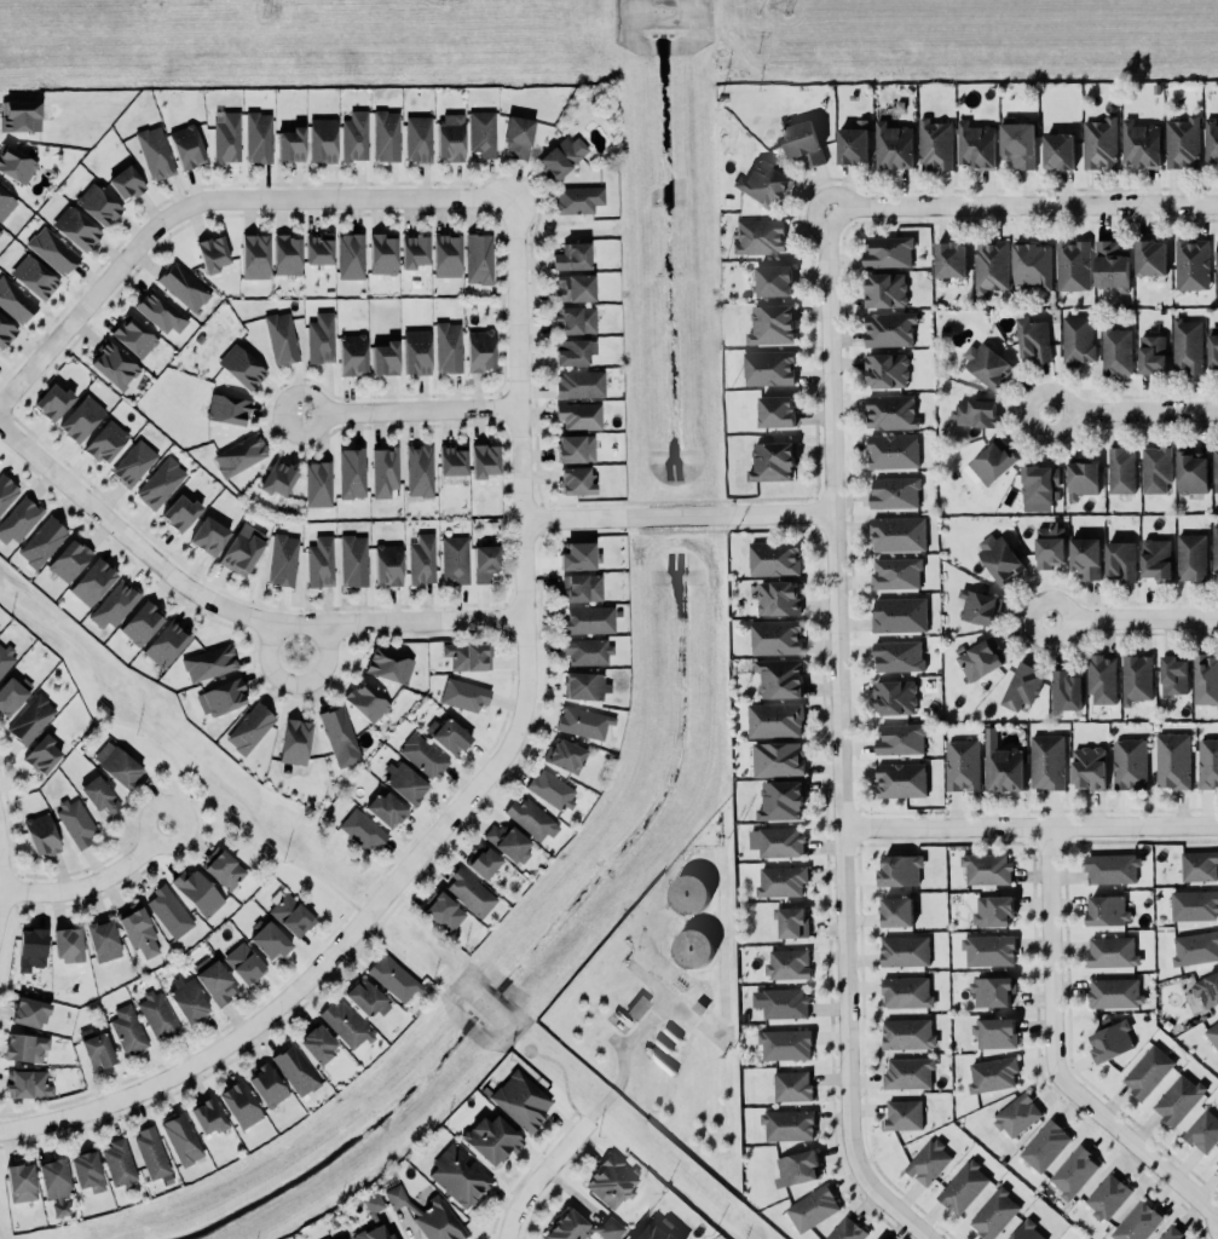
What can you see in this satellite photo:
power tower: (790, 5)
power tower: (262, 10)
building: (19, 115)
building: (483, 132)
building: (226, 136)
building: (354, 136)
building: (386, 136)
building: (450, 136)
building: (258, 137)
building: (519, 137)
building: (418, 138)
building: (323, 139)
building: (1211, 139)
building: (803, 142)
building: (854, 142)
building: (1017, 142)
building: (1182, 142)
building: (1099, 143)
building: (1141, 143)
building: (290, 144)
building: (893, 144)
building: (935, 144)
building: (976, 144)
building: (186, 146)
building: (1058, 150)
building: (155, 152)
building: (562, 155)
building: (16, 163)
building: (126, 181)
building: (763, 183)
road: (214, 196)
building: (578, 198)
building: (5, 203)
building: (97, 204)
road: (1022, 207)
building: (75, 227)
building: (0, 231)
building: (760, 236)
building: (318, 248)
building: (52, 250)
building: (414, 250)
building: (888, 250)
building: (212, 253)
building: (382, 253)
building: (287, 254)
building: (446, 254)
building: (254, 255)
building: (351, 255)
building: (572, 257)
building: (1150, 257)
building: (479, 258)
building: (949, 258)
building: (1191, 263)
building: (1032, 264)
building: (1073, 264)
building: (1217, 264)
building: (991, 265)
building: (1112, 265)
building: (34, 276)
building: (774, 280)
building: (183, 286)
building: (573, 287)
building: (884, 289)
building: (15, 300)
building: (161, 311)
building: (575, 319)
building: (772, 323)
building: (888, 328)
building: (133, 336)
building: (281, 336)
building: (321, 338)
building: (1033, 338)
building: (1078, 338)
building: (1188, 344)
building: (448, 346)
building: (1213, 348)
building: (480, 350)
building: (1116, 350)
building: (416, 351)
building: (573, 351)
building: (1151, 352)
building: (352, 353)
building: (385, 357)
building: (114, 364)
building: (987, 364)
building: (241, 367)
building: (769, 367)
building: (887, 369)
building: (579, 384)
building: (52, 400)
building: (227, 409)
road: (409, 409)
building: (777, 410)
road: (1133, 410)
building: (975, 411)
building: (579, 415)
building: (81, 417)
building: (106, 440)
building: (576, 448)
building: (893, 450)
building: (239, 455)
building: (452, 459)
building: (484, 460)
building: (772, 461)
building: (133, 462)
building: (991, 462)
building: (1155, 468)
building: (1216, 468)
building: (418, 469)
building: (1121, 469)
building: (385, 471)
building: (1193, 471)
building: (352, 472)
building: (1083, 477)
building: (278, 478)
building: (576, 479)
building: (1039, 482)
building: (161, 483)
building: (318, 484)
building: (6, 491)
building: (894, 491)
building: (180, 512)
road: (680, 514)
building: (19, 519)
building: (897, 532)
building: (209, 535)
building: (42, 542)
building: (1050, 543)
building: (1214, 547)
building: (241, 552)
building: (579, 555)
building: (1086, 555)
building: (1191, 555)
building: (774, 557)
building: (1000, 557)
building: (1156, 558)
building: (69, 559)
building: (283, 559)
building: (353, 559)
building: (422, 559)
building: (455, 559)
building: (1121, 559)
building: (321, 561)
building: (485, 561)
building: (388, 564)
building: (896, 572)
building: (92, 581)
building: (581, 587)
building: (778, 597)
building: (114, 604)
building: (979, 605)
road: (230, 610)
building: (899, 613)
road: (1136, 618)
building: (589, 619)
building: (142, 622)
building: (775, 636)
building: (166, 644)
building: (588, 651)
building: (468, 655)
building: (897, 655)
building: (981, 657)
building: (5, 658)
building: (209, 662)
building: (388, 665)
building: (1173, 673)
building: (780, 676)
building: (1101, 678)
building: (1136, 678)
building: (1205, 678)
road: (299, 680)
building: (584, 685)
building: (1022, 685)
building: (1064, 688)
building: (12, 693)
road: (841, 693)
building: (463, 695)
building: (895, 696)
building: (221, 697)
building: (366, 701)
building: (30, 719)
building: (775, 719)
building: (583, 721)
building: (249, 728)
building: (449, 734)
building: (339, 736)
building: (900, 737)
building: (294, 740)
building: (42, 754)
building: (423, 755)
building: (565, 755)
building: (778, 757)
building: (1047, 760)
building: (1172, 760)
building: (1130, 762)
building: (1207, 762)
building: (117, 763)
building: (963, 763)
building: (1001, 763)
building: (1089, 766)
building: (901, 778)
building: (405, 782)
road: (477, 786)
building: (552, 789)
building: (100, 795)
road: (175, 797)
building: (781, 800)
building: (386, 808)
building: (531, 818)
building: (76, 822)
road: (1032, 826)
building: (362, 830)
building: (41, 834)
road: (266, 834)
building: (507, 841)
building: (781, 841)
building: (481, 859)
building: (1199, 865)
building: (223, 868)
building: (987, 868)
building: (1112, 868)
building: (900, 869)
road: (0, 875)
building: (781, 880)
road: (94, 881)
building: (197, 892)
building: (469, 892)
building: (689, 893)
building: (1194, 904)
building: (1107, 909)
building: (443, 910)
building: (993, 910)
building: (169, 911)
building: (896, 911)
building: (291, 915)
building: (792, 921)
building: (138, 929)
building: (103, 939)
building: (269, 939)
building: (67, 944)
building: (693, 946)
building: (1195, 947)
building: (31, 949)
building: (988, 949)
building: (905, 950)
building: (1112, 950)
building: (244, 963)
building: (787, 963)
building: (393, 978)
building: (214, 980)
building: (1207, 989)
building: (992, 990)
building: (906, 991)
building: (1114, 991)
building: (366, 997)
building: (187, 999)
building: (781, 1001)
road: (723, 1003)
building: (637, 1007)
building: (29, 1012)
building: (157, 1014)
road: (646, 1022)
building: (345, 1024)
building: (128, 1028)
building: (994, 1031)
building: (907, 1032)
building: (1213, 1032)
building: (1110, 1038)
building: (317, 1043)
building: (785, 1043)
building: (25, 1047)
building: (96, 1048)
road: (1060, 1054)
road: (624, 1060)
building: (295, 1070)
building: (1148, 1070)
building: (908, 1072)
building: (993, 1073)
road: (565, 1078)
building: (27, 1083)
building: (792, 1084)
building: (266, 1085)
building: (1178, 1097)
building: (521, 1100)
building: (239, 1103)
road: (602, 1105)
building: (904, 1113)
building: (1017, 1113)
building: (207, 1116)
building: (787, 1123)
building: (1203, 1130)
building: (181, 1139)
building: (491, 1139)
building: (1045, 1143)
building: (151, 1152)
building: (929, 1160)
building: (119, 1162)
building: (1217, 1164)
building: (797, 1168)
building: (87, 1170)
building: (1074, 1170)
building: (458, 1175)
road: (543, 1175)
building: (53, 1177)
building: (21, 1181)
building: (611, 1181)
building: (963, 1186)
building: (1107, 1195)
building: (60, 1208)
building: (813, 1208)
road: (900, 1208)
building: (994, 1212)
building: (428, 1215)
building: (1137, 1221)
building: (581, 1227)
building: (657, 1229)
building: (1027, 1232)
building: (374, 1233)
building: (1171, 1233)
building: (342, 1238)

